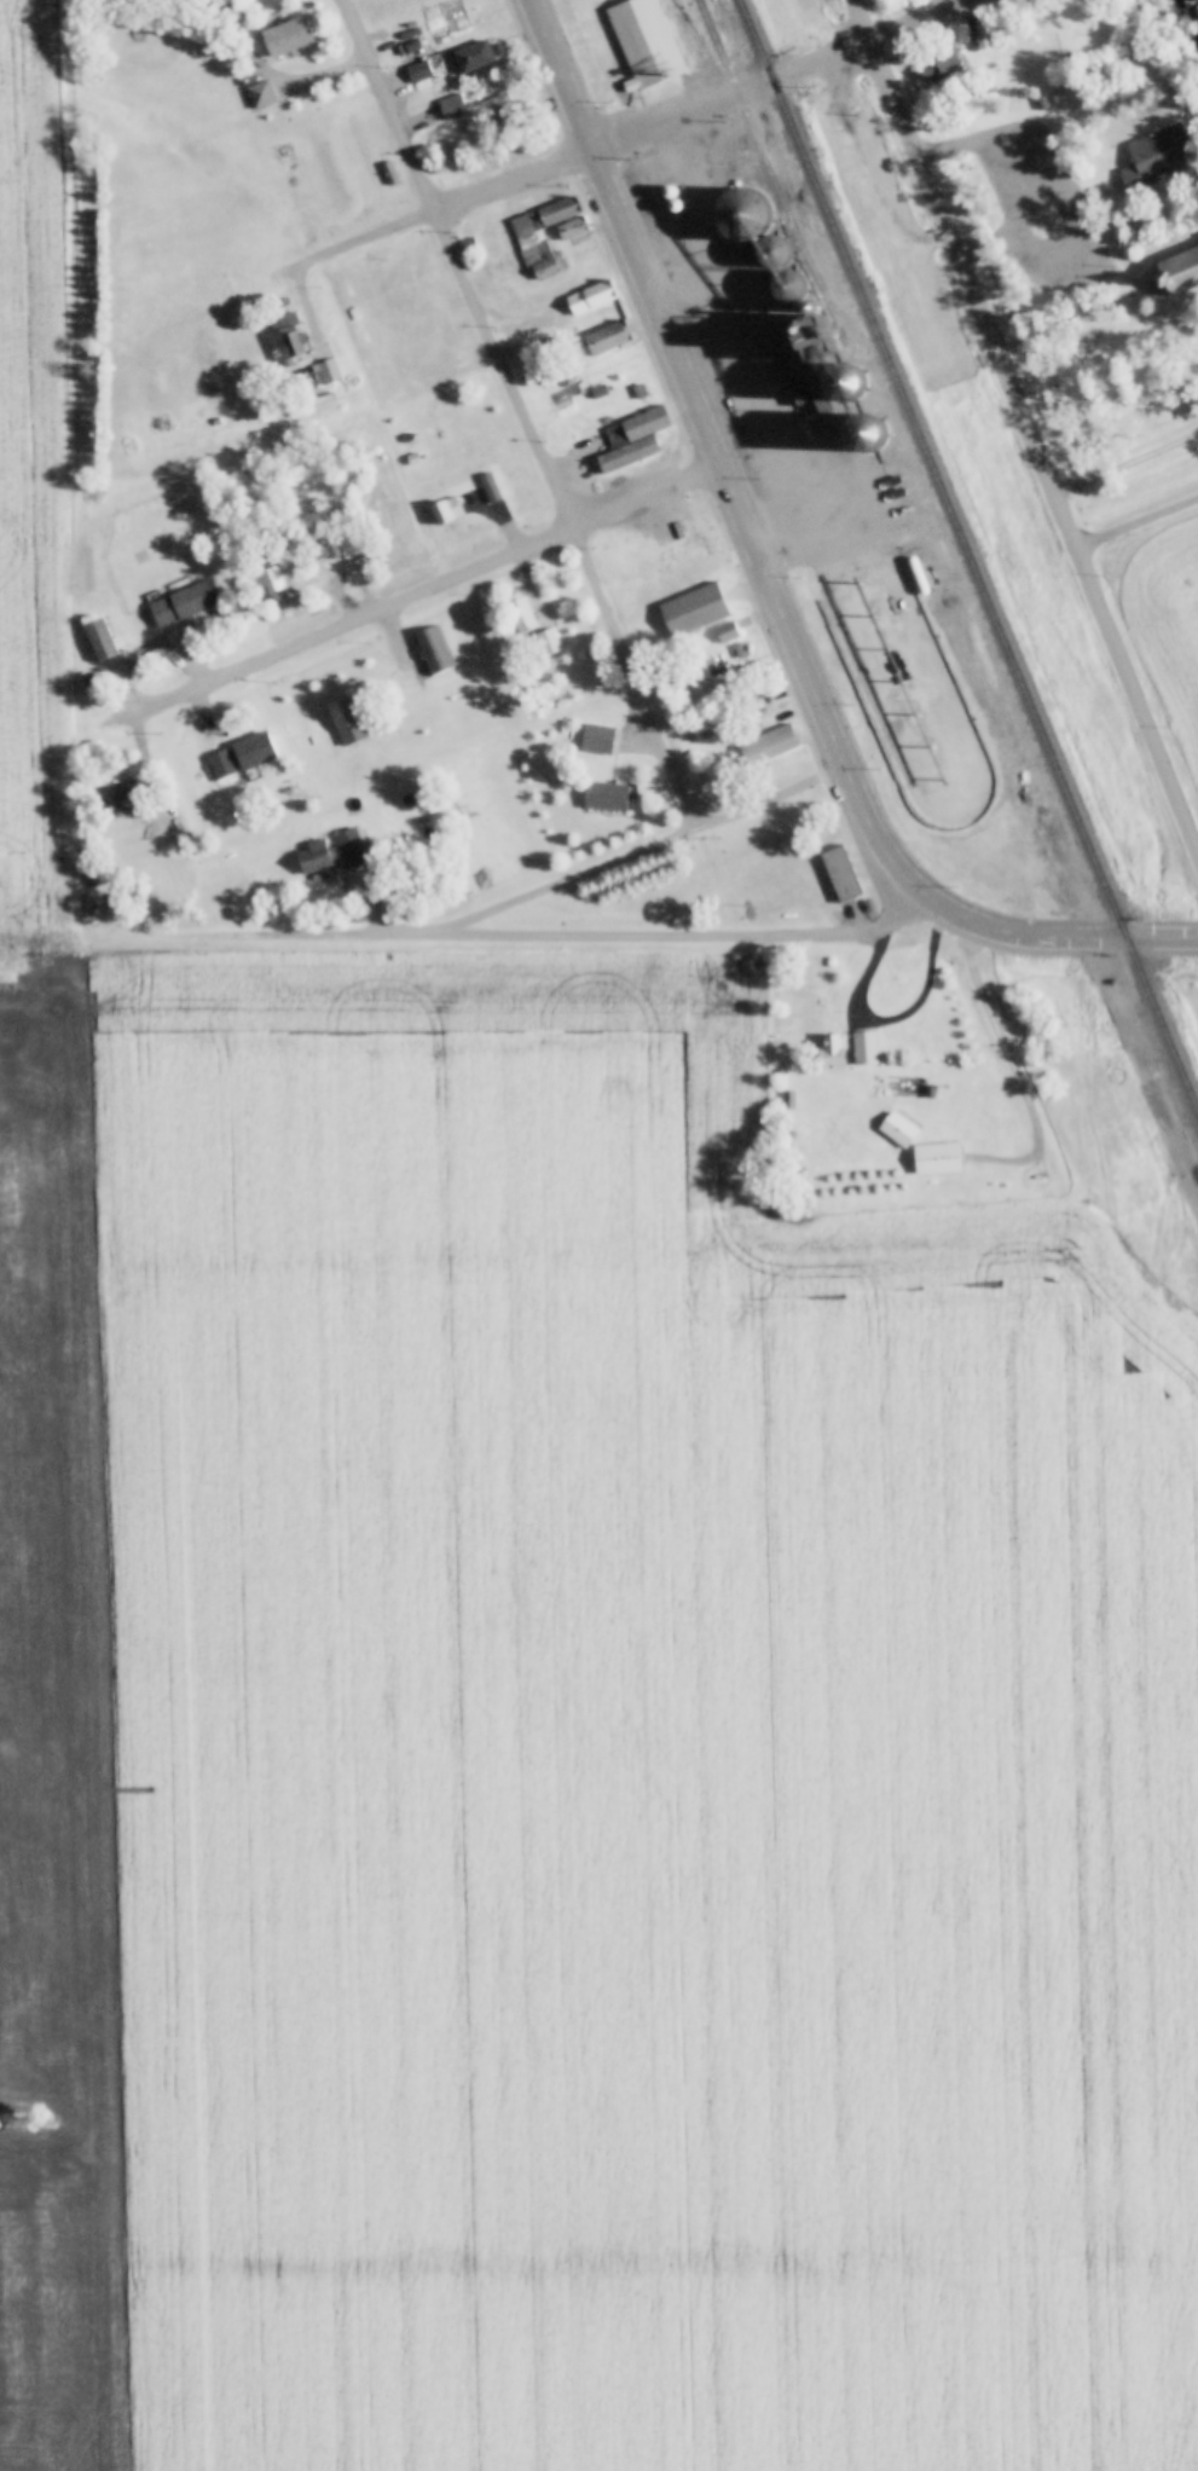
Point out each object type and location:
building: (467, 21)
road: (861, 21)
building: (285, 36)
building: (644, 41)
building: (473, 57)
building: (938, 63)
building: (418, 71)
building: (480, 112)
road: (630, 131)
building: (1151, 157)
building: (390, 170)
building: (542, 236)
building: (1176, 270)
building: (590, 295)
building: (289, 336)
building: (606, 336)
road: (521, 412)
railway: (878, 433)
building: (631, 438)
road: (714, 445)
road: (1037, 447)
road: (1127, 458)
building: (446, 508)
road: (1136, 520)
building: (348, 540)
railway: (968, 555)
building: (271, 580)
road: (424, 589)
building: (183, 601)
building: (693, 608)
building: (536, 618)
building: (98, 638)
building: (433, 648)
building: (710, 659)
building: (346, 718)
building: (597, 737)
building: (774, 740)
building: (239, 754)
building: (123, 794)
building: (604, 794)
building: (330, 851)
road: (631, 851)
building: (838, 870)
road: (525, 934)
road: (1049, 934)
building: (846, 1047)
building: (934, 1157)

